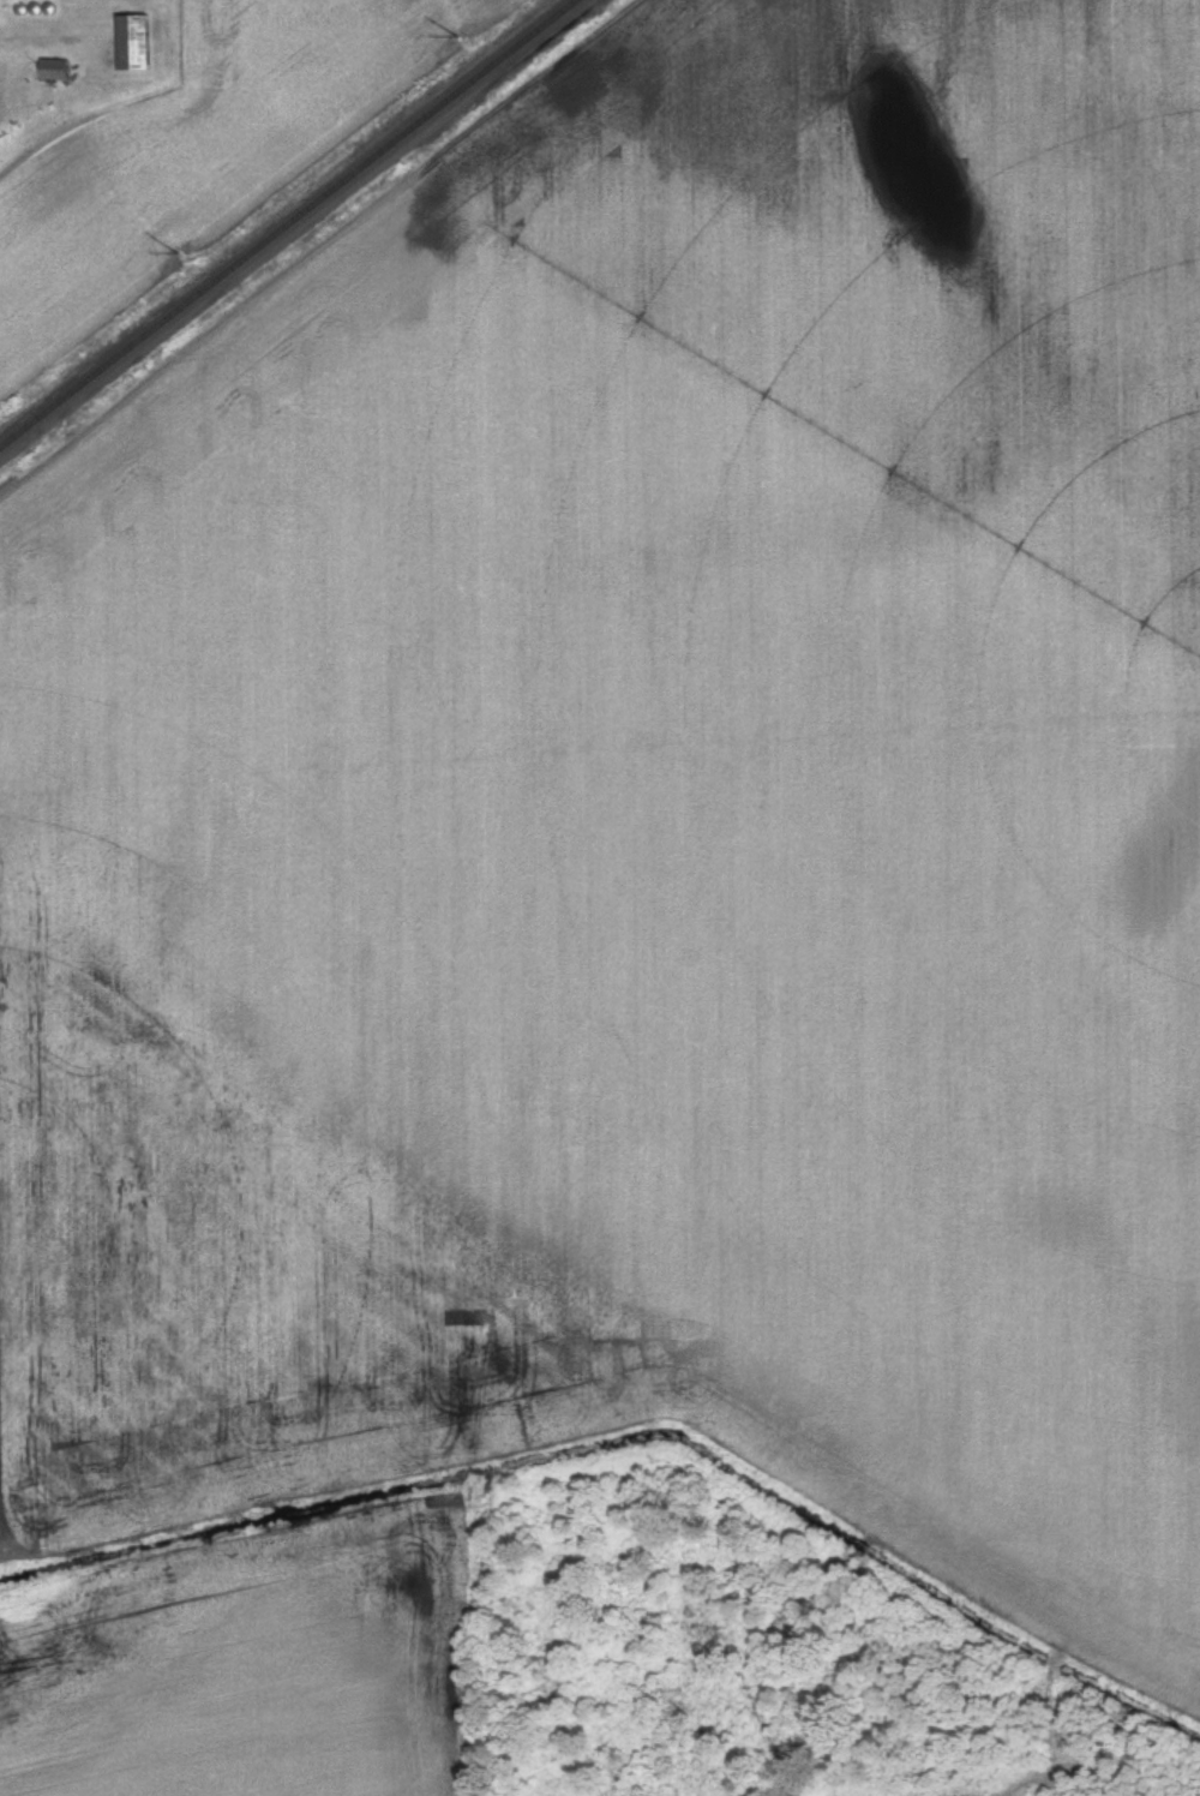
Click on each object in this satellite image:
railway: (528, 38)
building: (133, 43)
building: (54, 71)
crop: (197, 154)
railway: (239, 258)
crop: (647, 818)
crop: (254, 1668)

